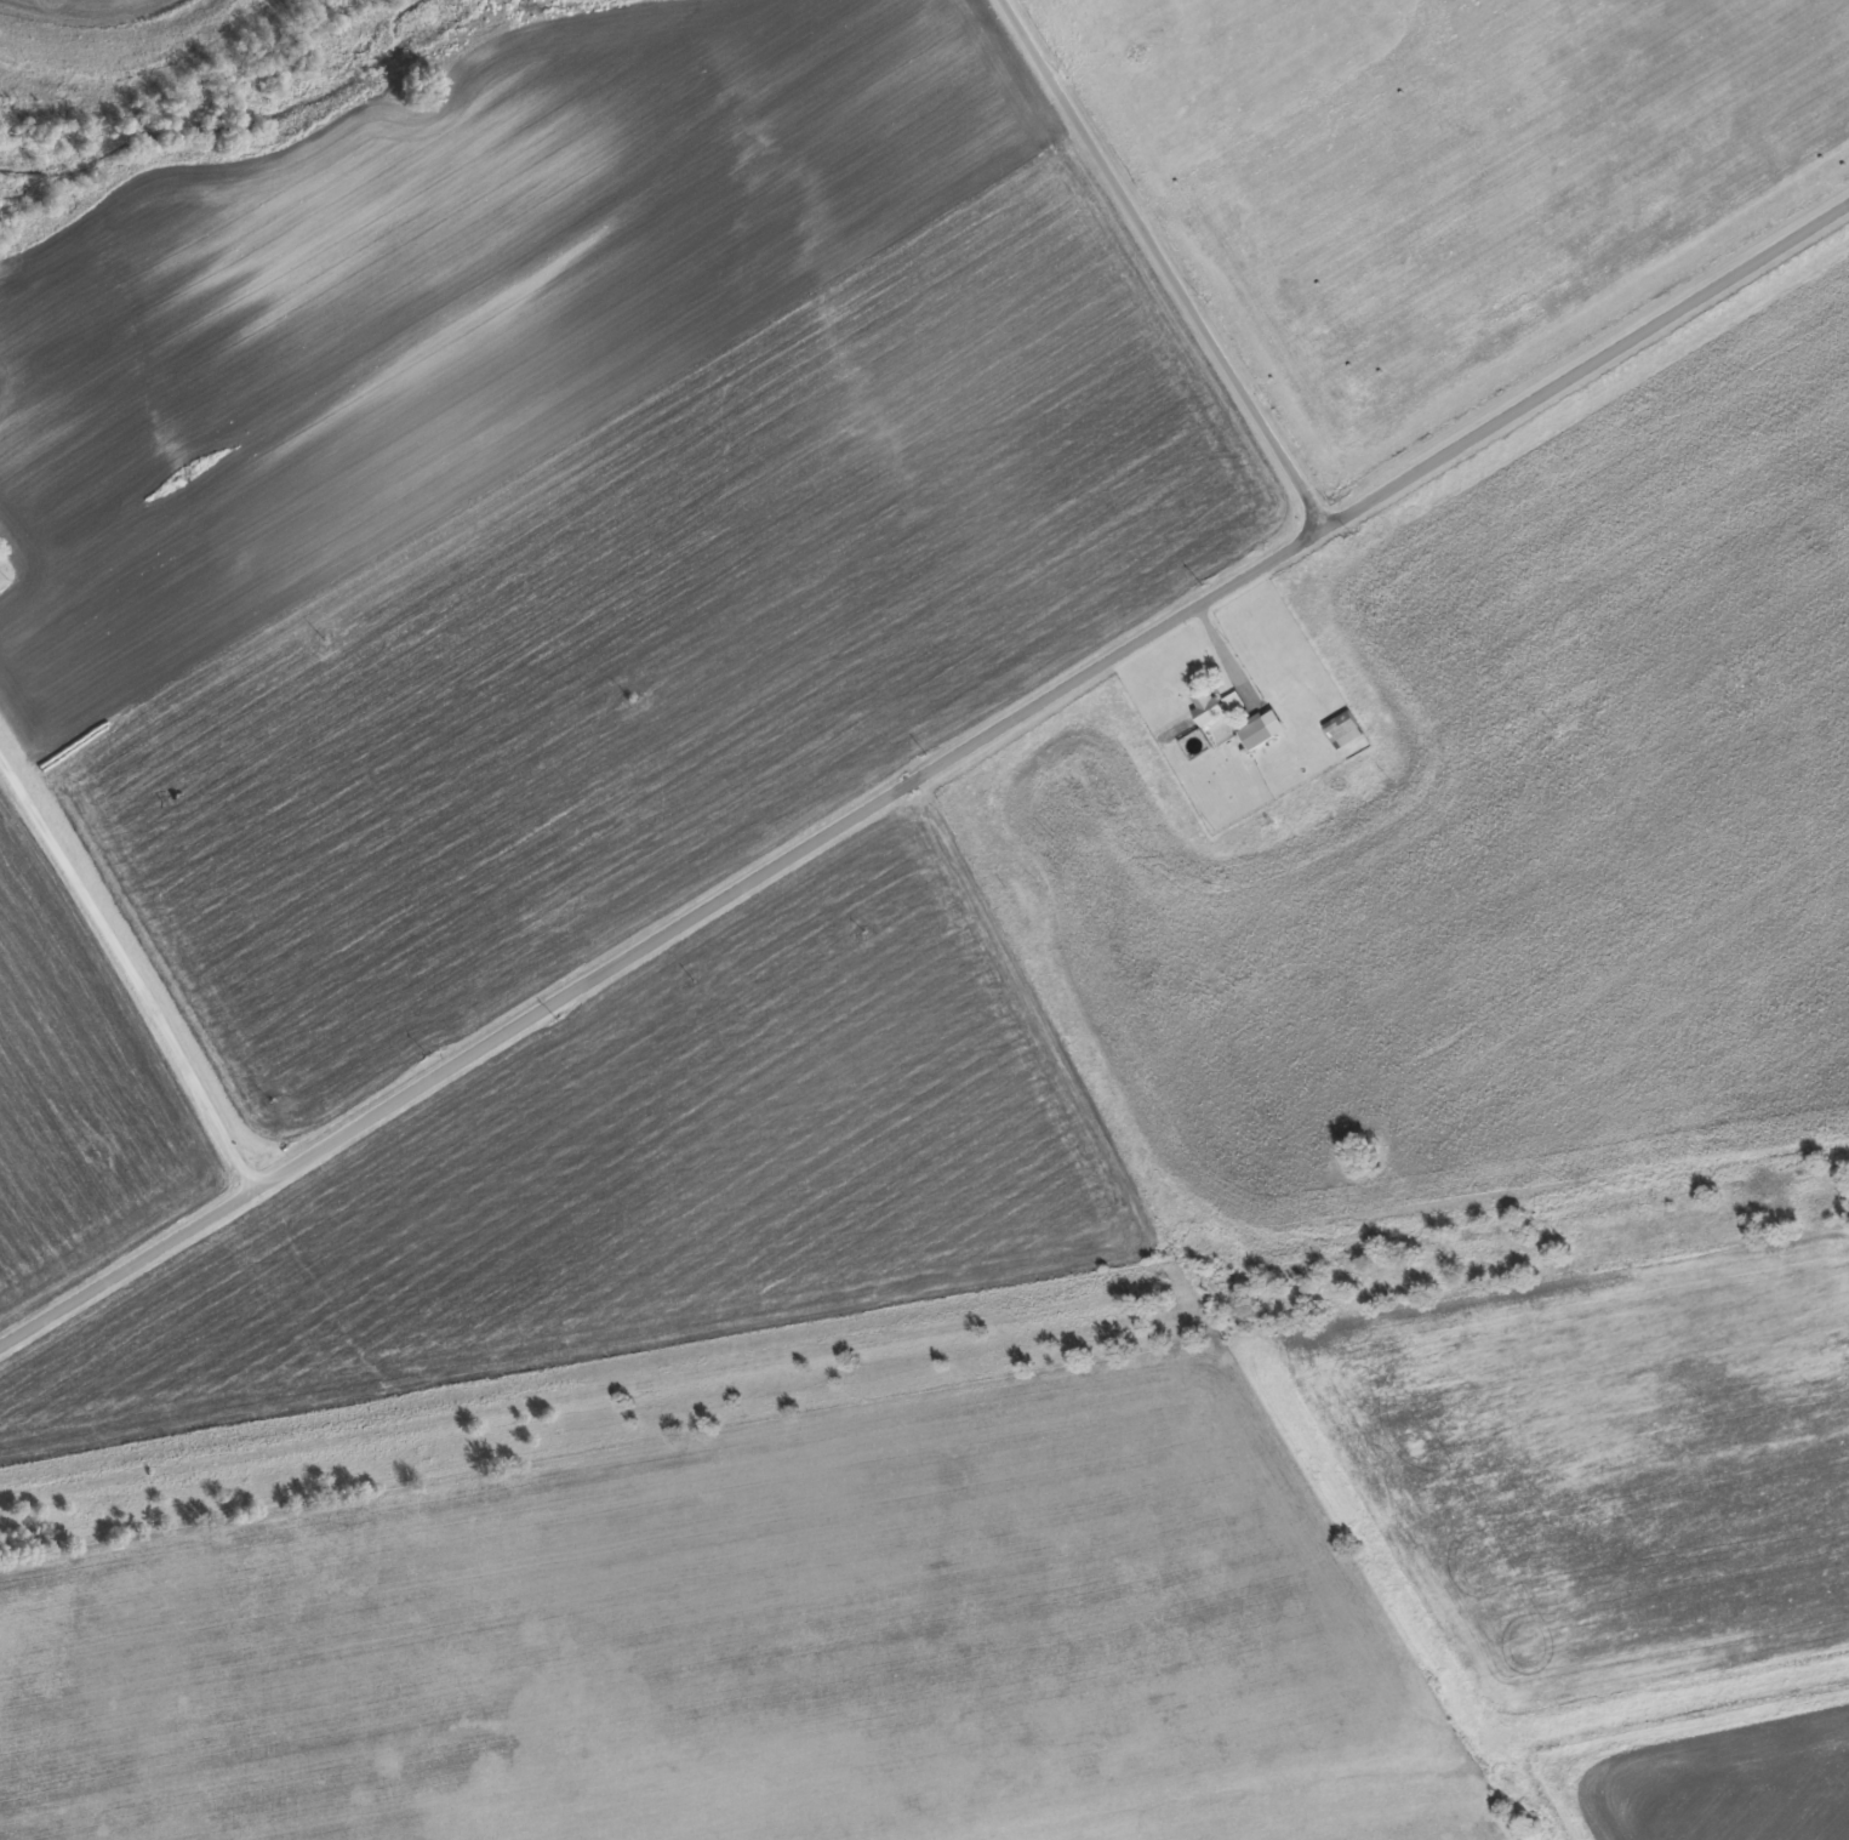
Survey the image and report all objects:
road: (1170, 261)
building: (1233, 701)
building: (1205, 706)
building: (1341, 729)
building: (1254, 734)
road: (926, 773)

